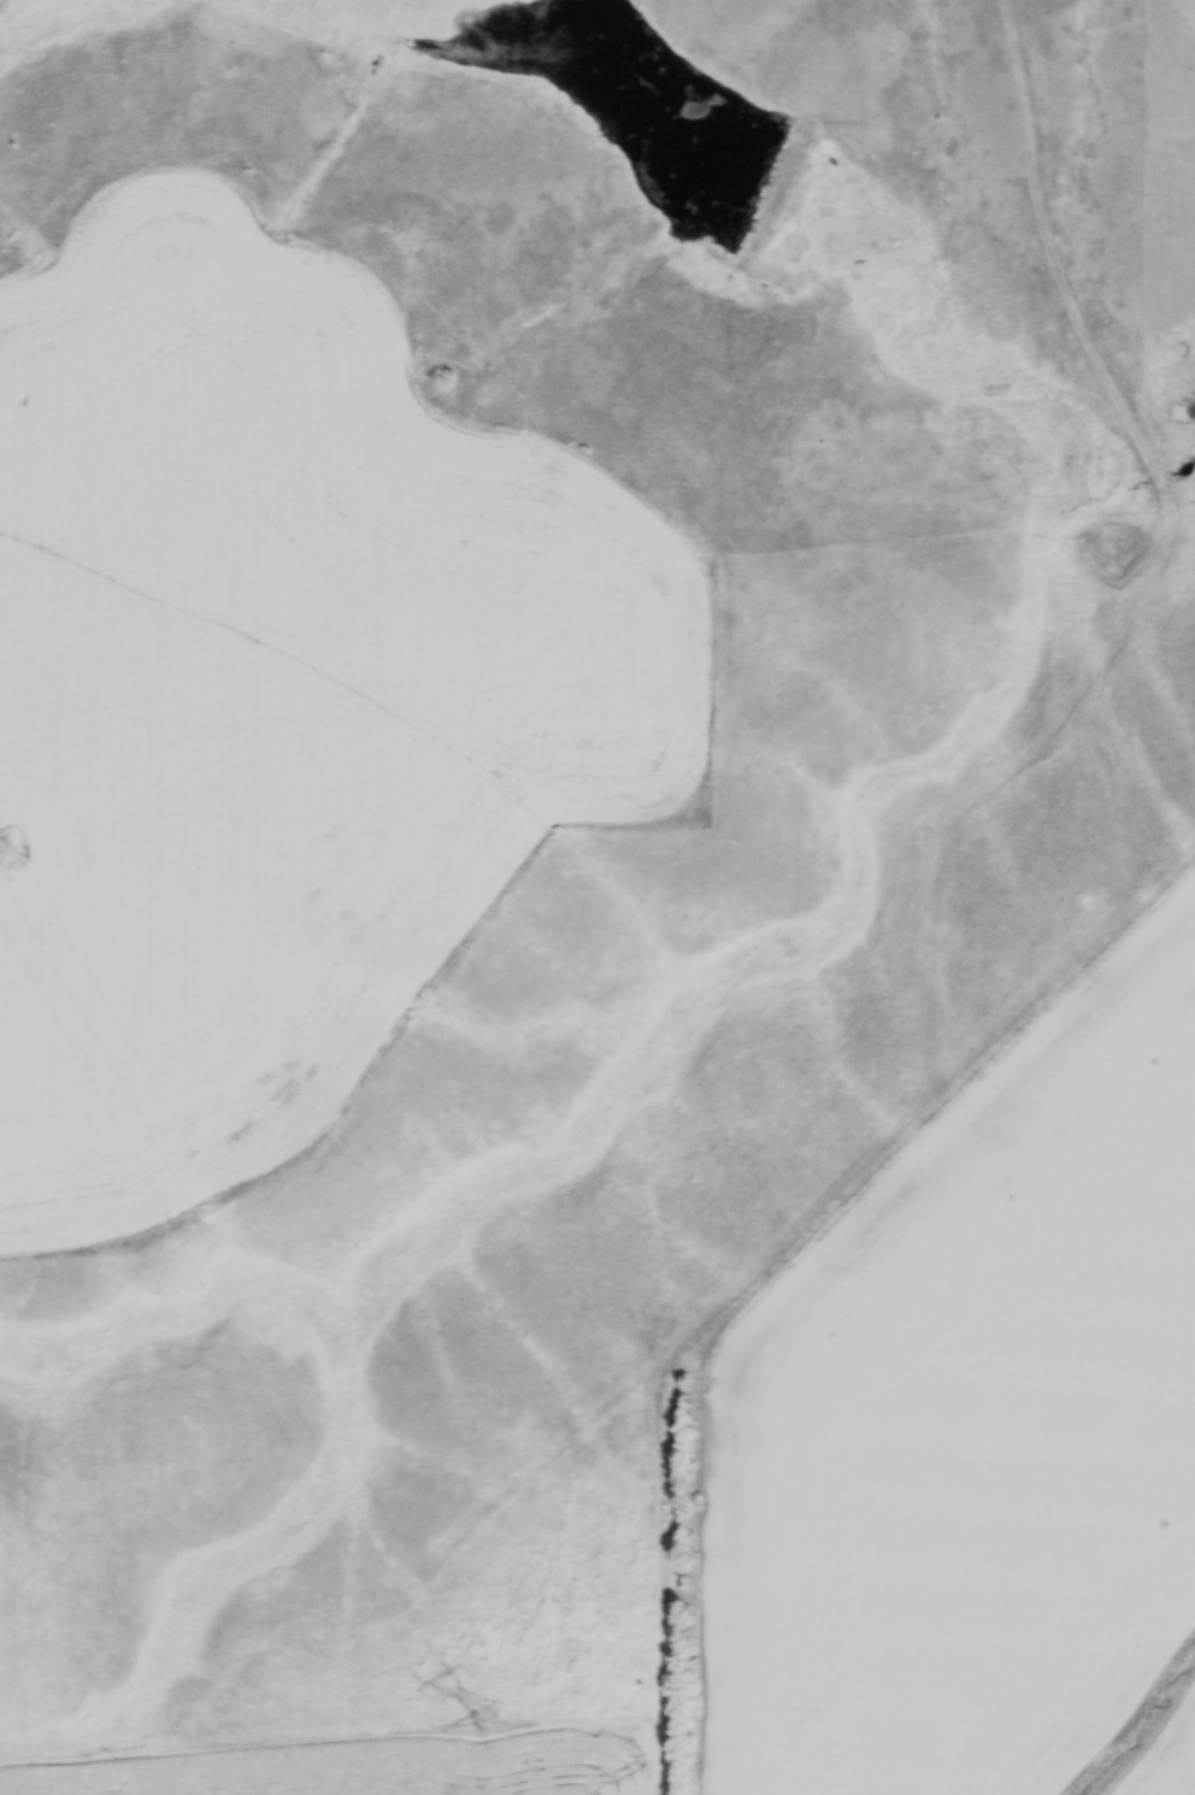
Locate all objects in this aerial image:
power tower: (479, 1723)

